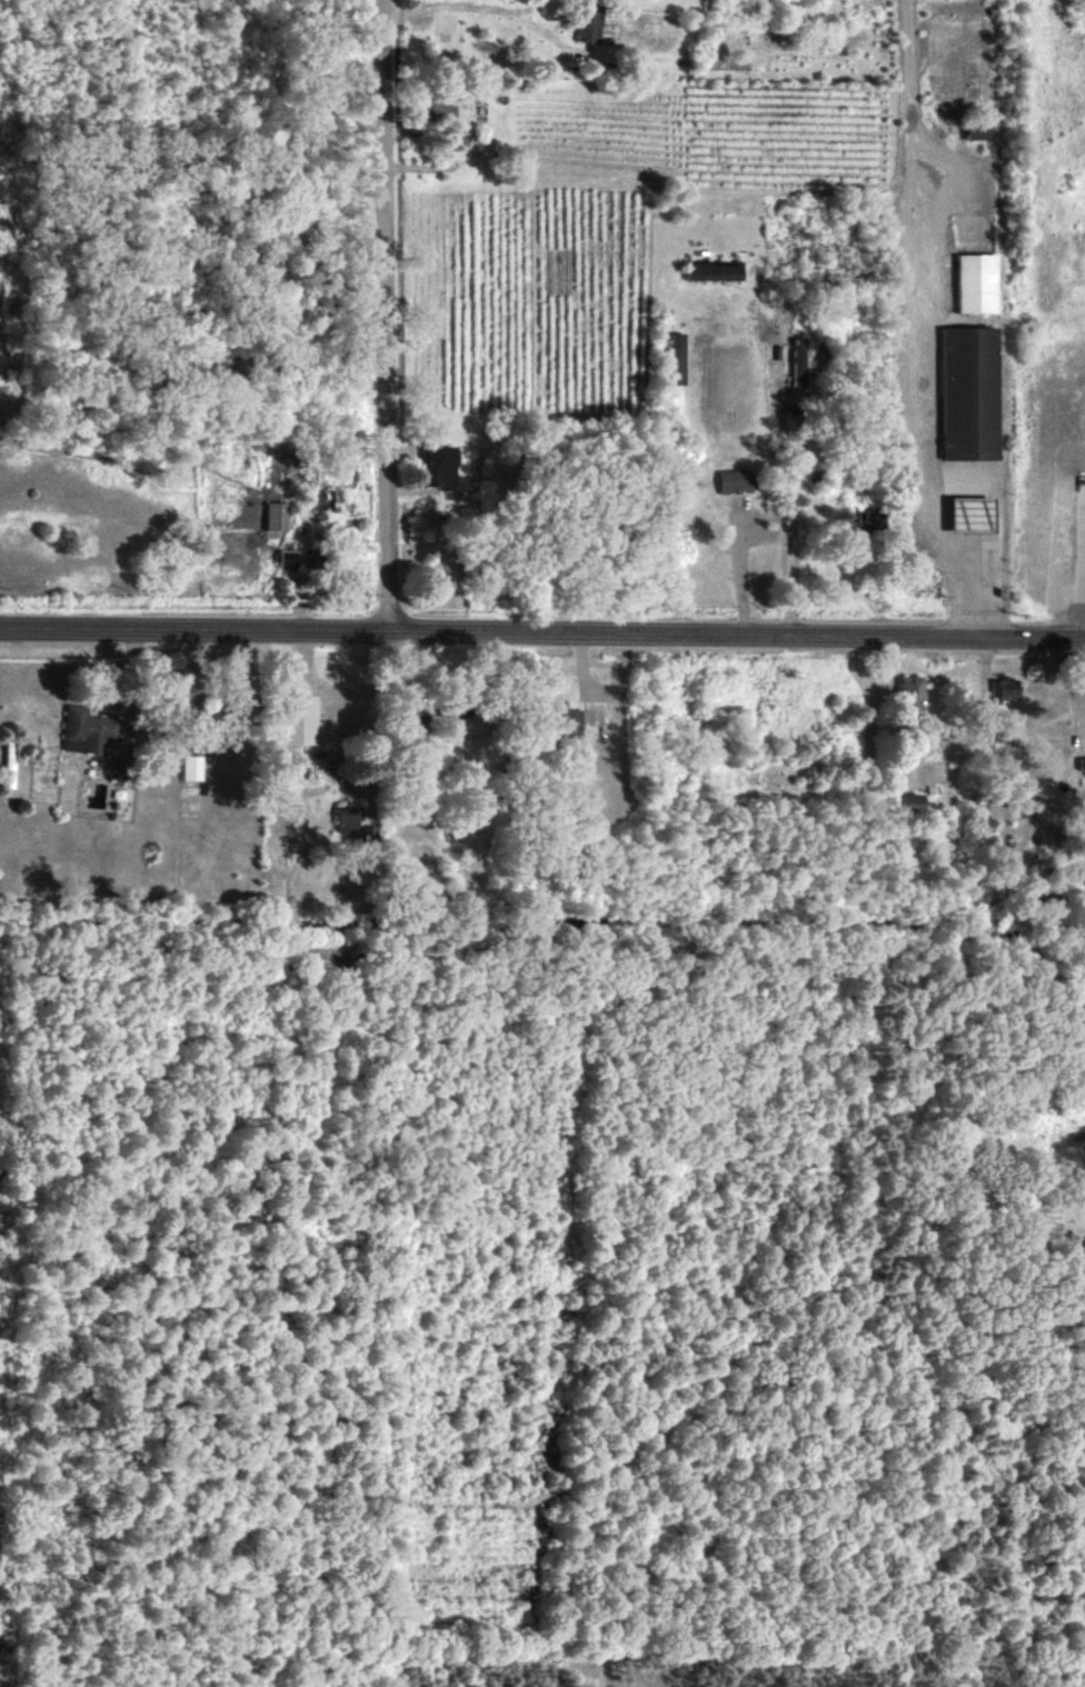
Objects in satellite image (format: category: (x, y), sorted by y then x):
road: (481, 6)
building: (588, 23)
road: (912, 84)
building: (435, 106)
building: (977, 132)
building: (714, 270)
building: (975, 282)
road: (384, 315)
building: (677, 358)
building: (797, 362)
building: (968, 393)
road: (926, 412)
building: (440, 468)
road: (788, 477)
building: (734, 480)
road: (1001, 493)
building: (972, 515)
building: (276, 516)
building: (287, 559)
road: (1082, 609)
road: (541, 631)
building: (1004, 688)
building: (910, 692)
building: (297, 719)
building: (568, 722)
building: (86, 729)
road: (167, 747)
building: (1082, 762)
building: (190, 766)
building: (909, 801)
building: (346, 818)
building: (367, 831)
building: (1084, 1251)

